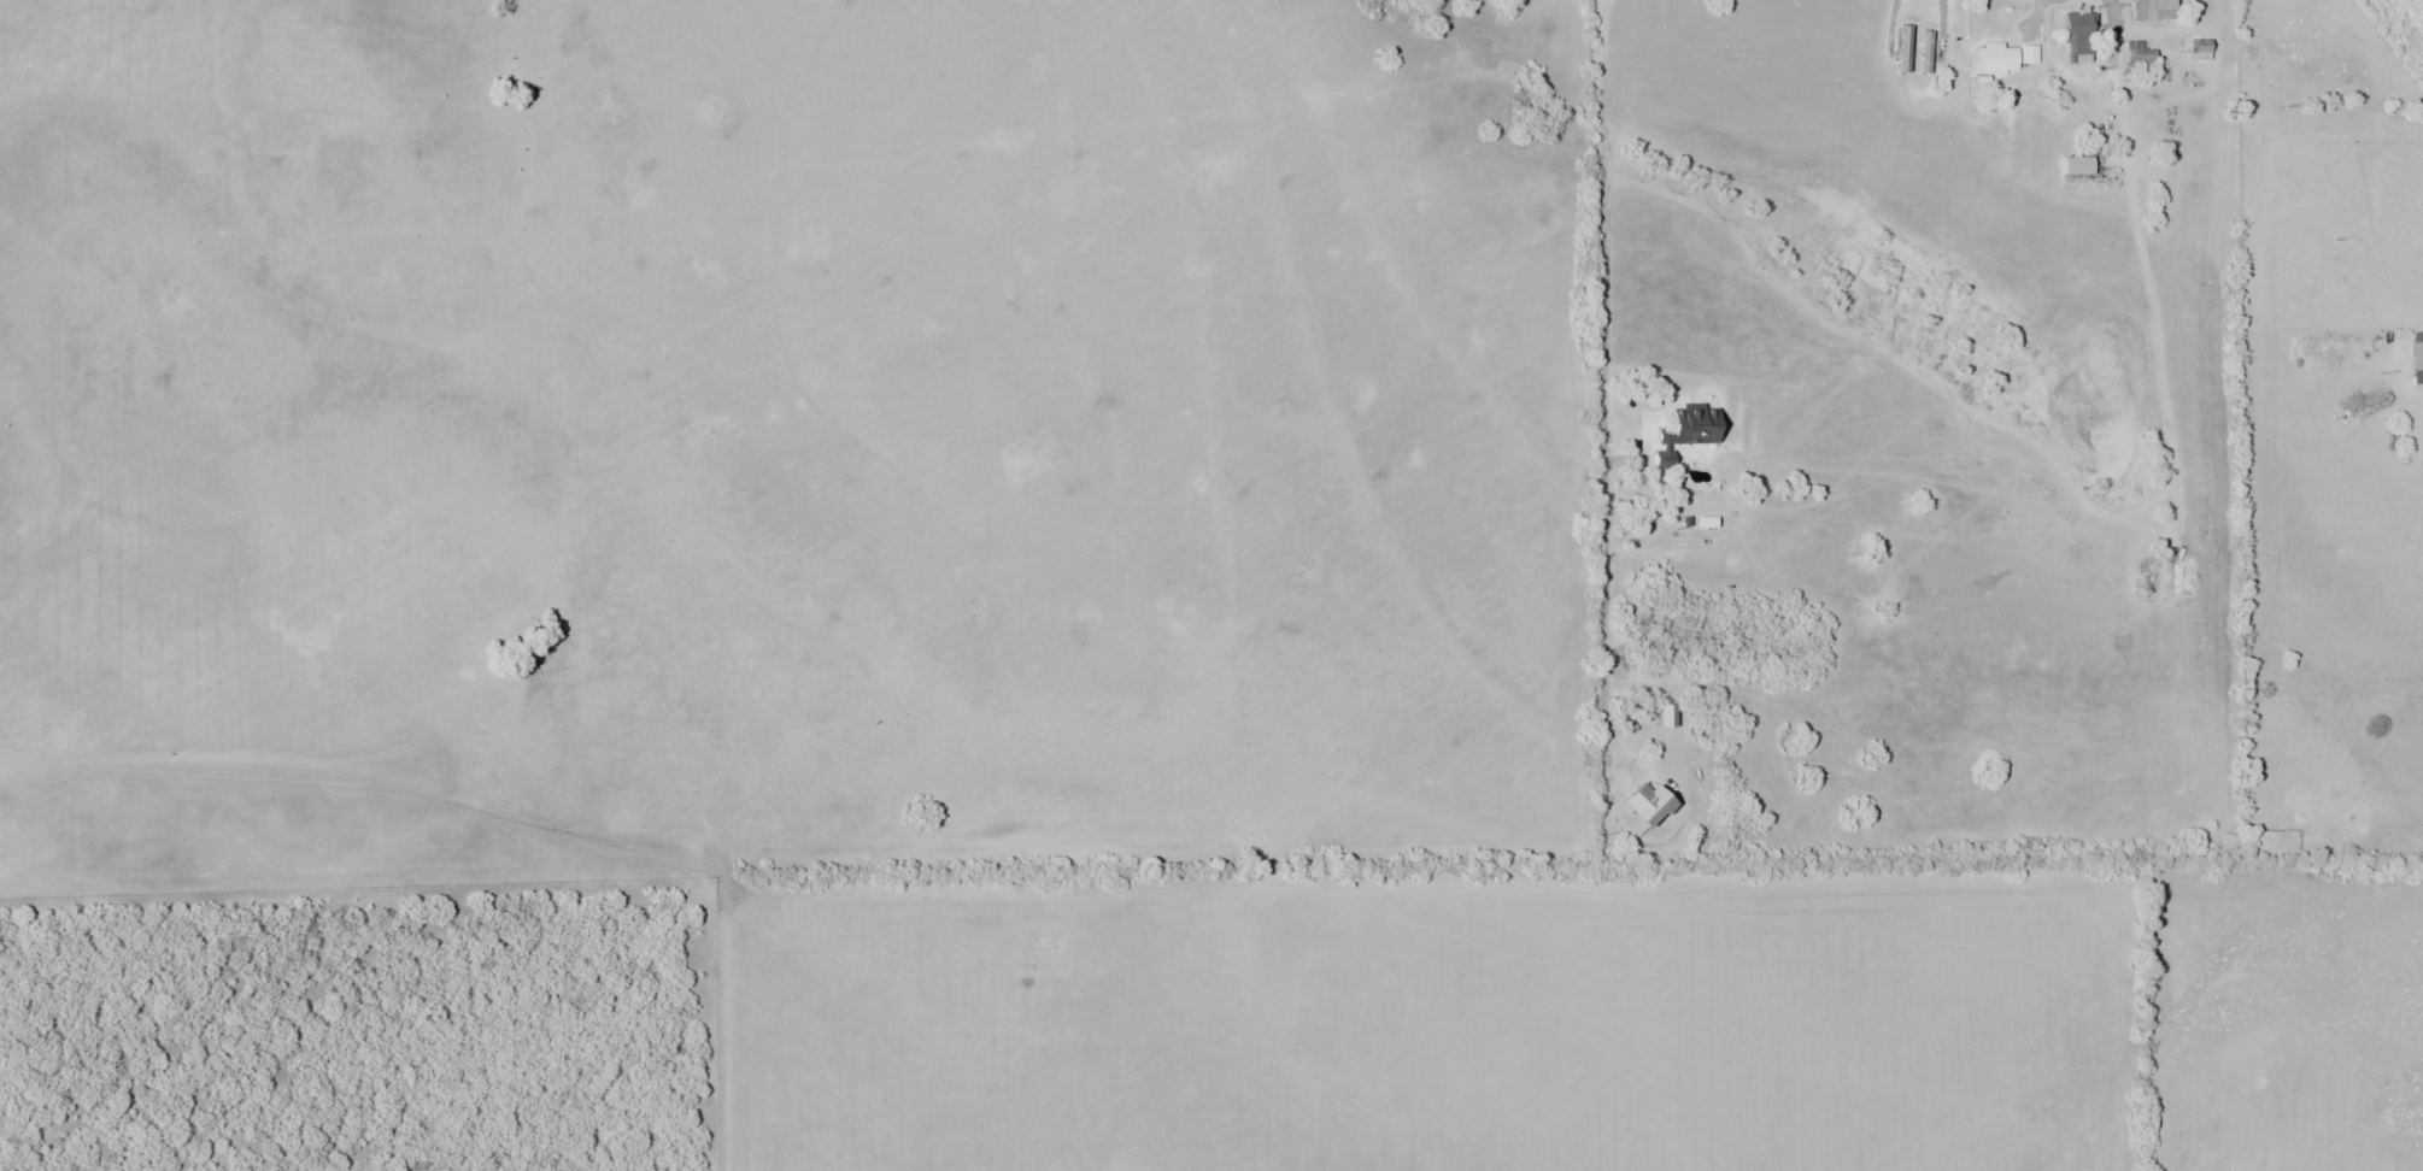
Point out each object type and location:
building: (2154, 10)
building: (2077, 37)
building: (1994, 58)
building: (2078, 165)
building: (1688, 430)
building: (1668, 716)
building: (1650, 804)

